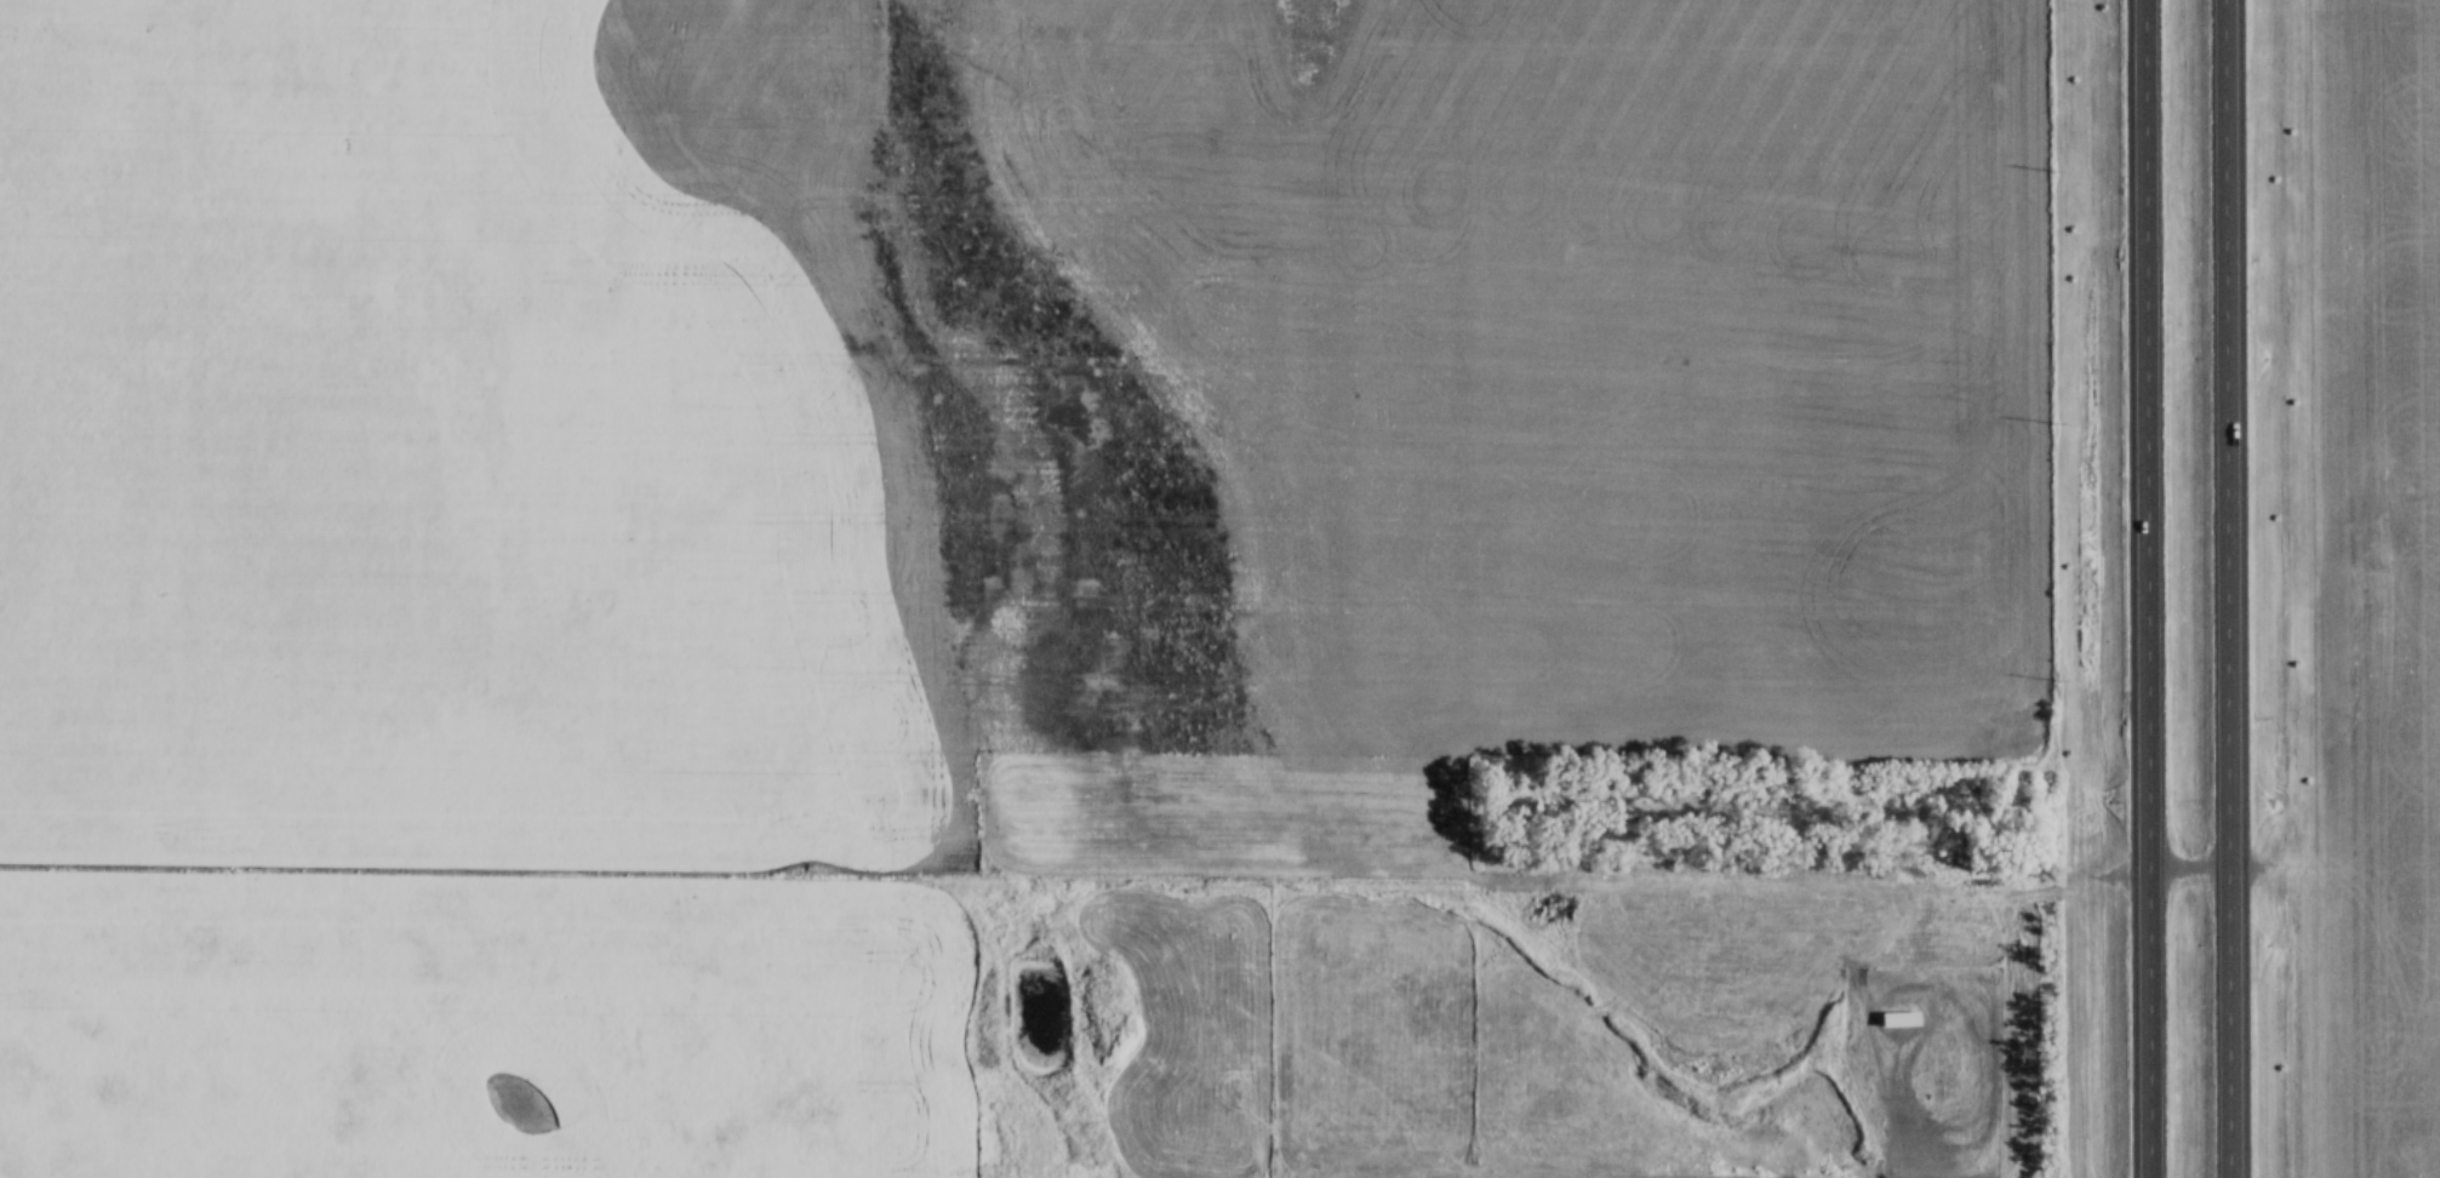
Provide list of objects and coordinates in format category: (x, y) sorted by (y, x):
road: (2136, 589)
road: (2222, 589)

